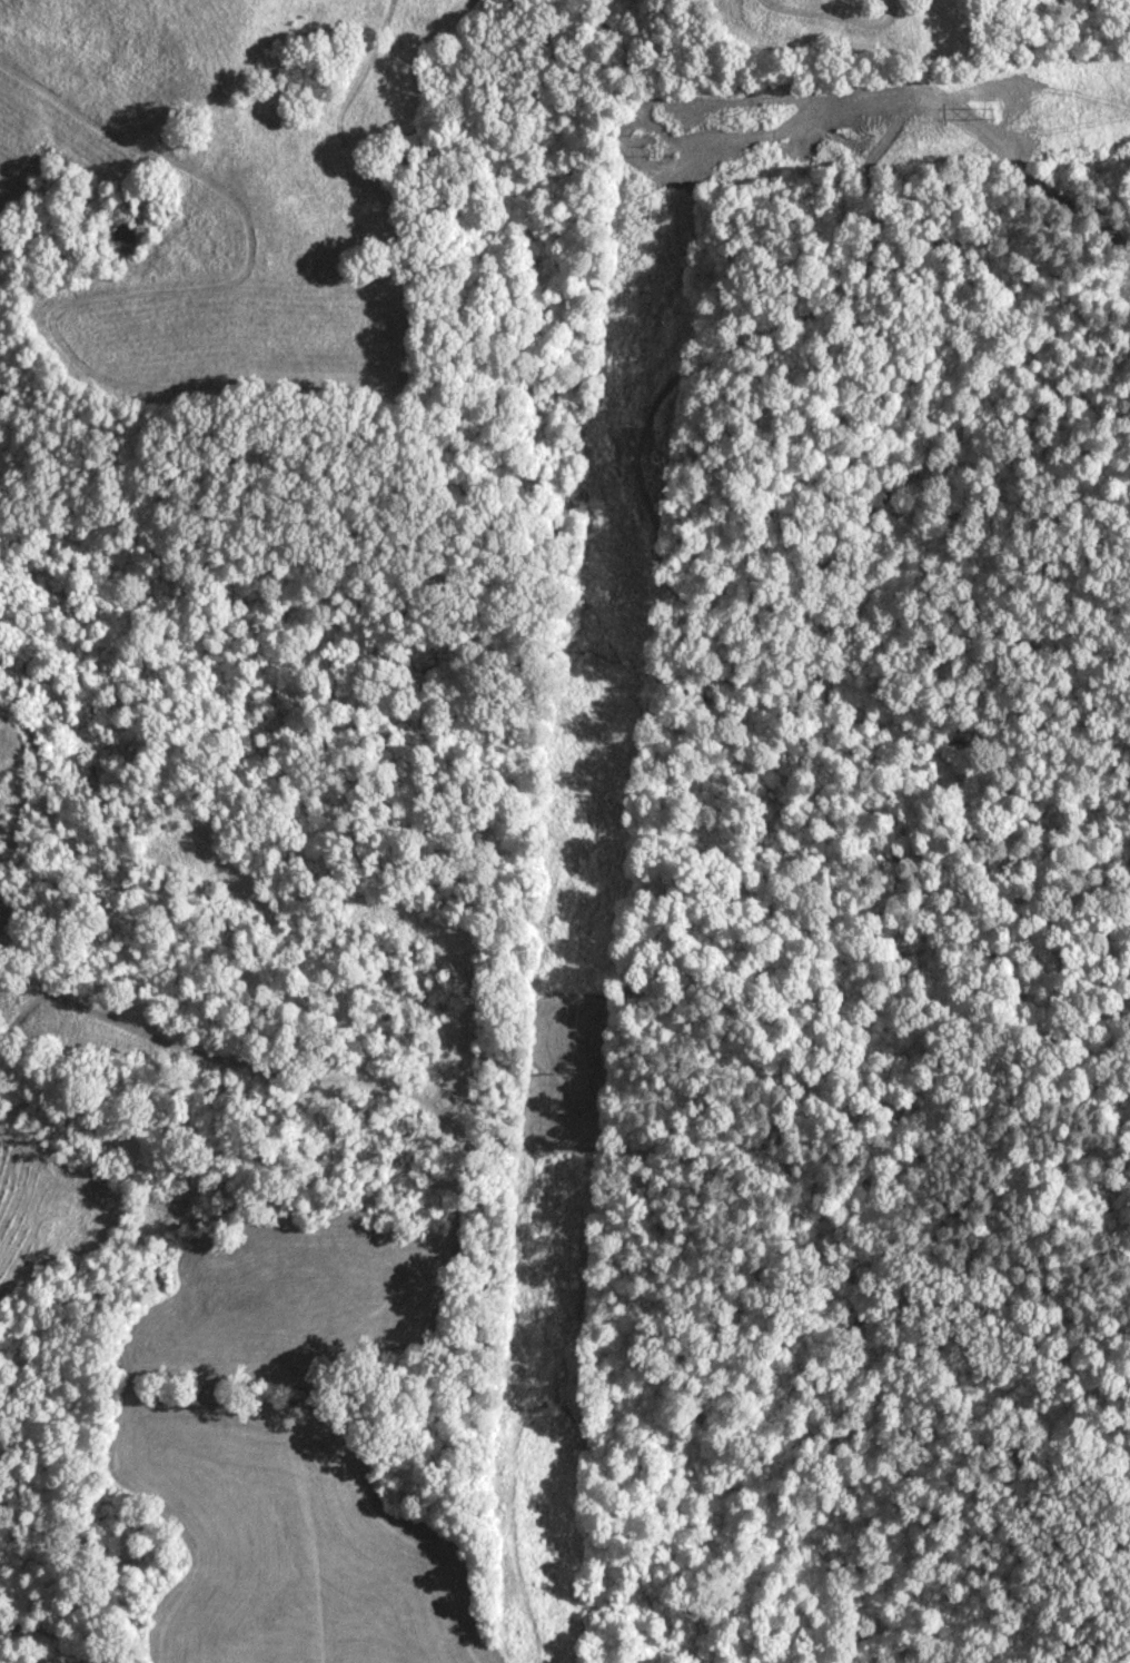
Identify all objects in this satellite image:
power tower: (1005, 109)
power tower: (673, 146)
power tower: (636, 423)
power tower: (563, 1075)
road: (44, 1629)

